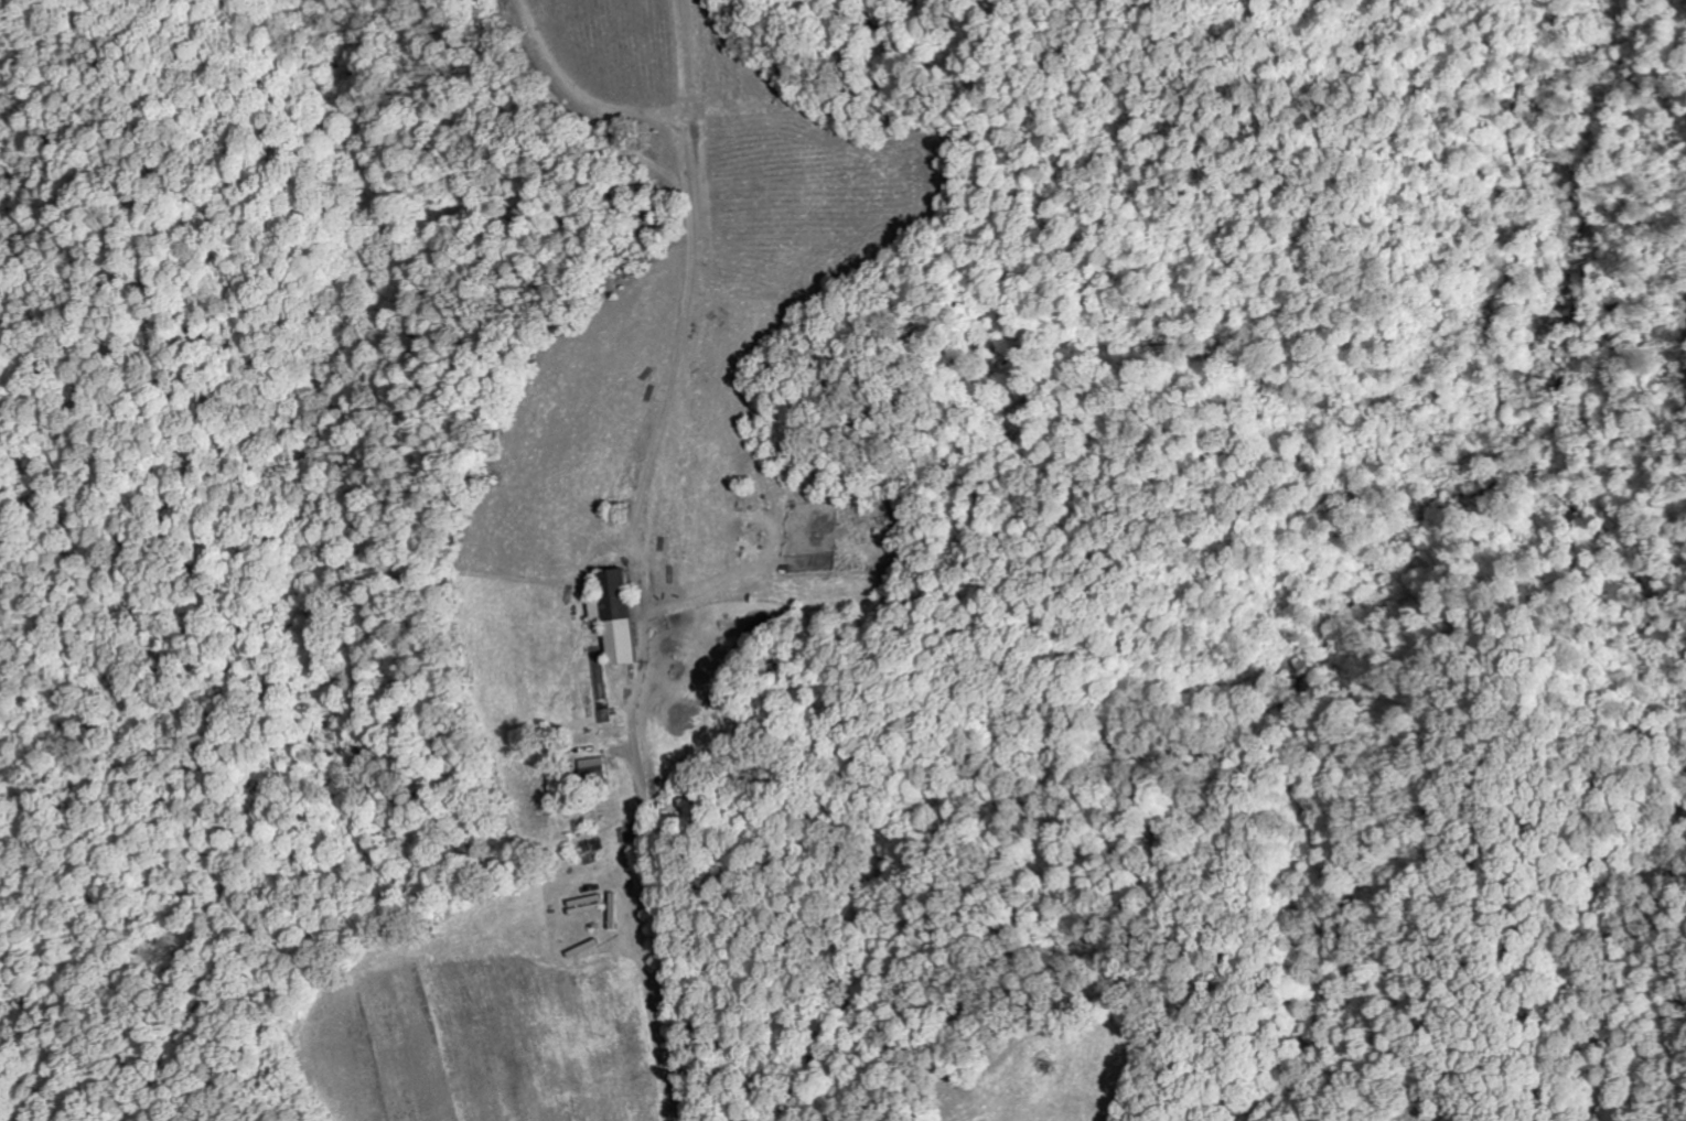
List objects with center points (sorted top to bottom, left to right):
building: (620, 618)
road: (669, 971)

